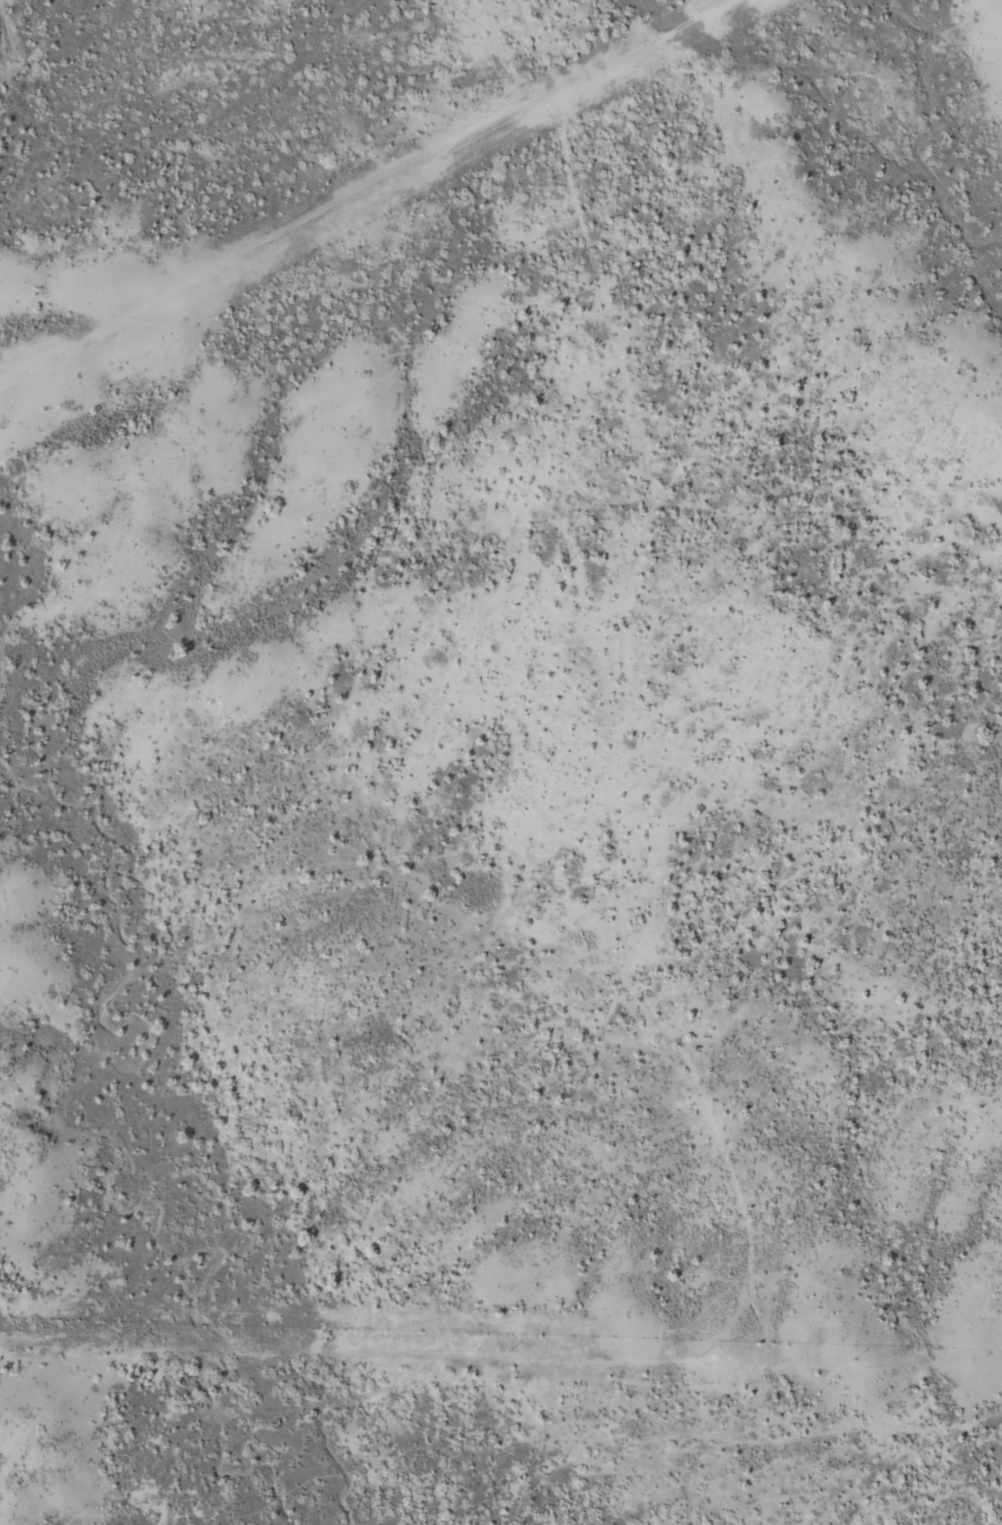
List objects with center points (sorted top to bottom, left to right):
road: (635, 1035)

